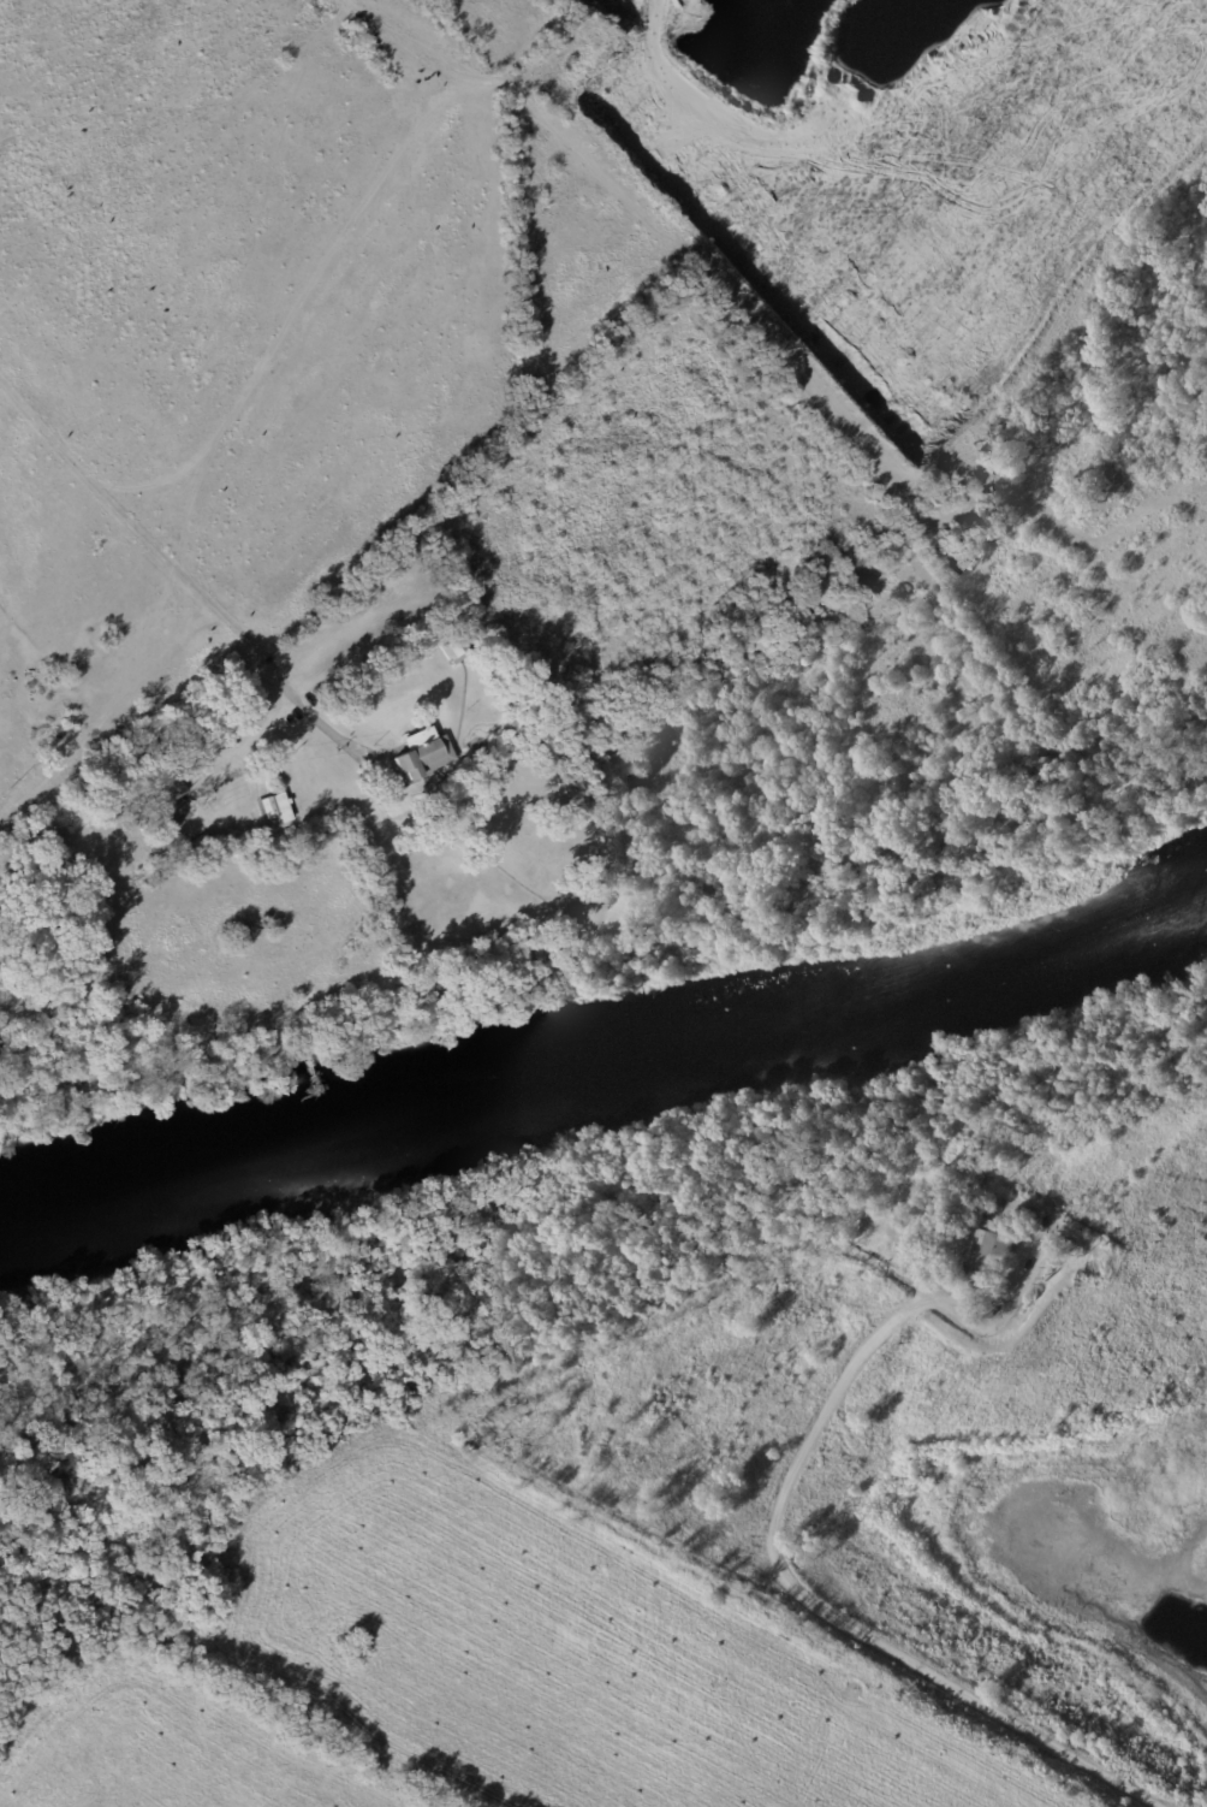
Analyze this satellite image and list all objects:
road: (153, 556)
building: (454, 646)
building: (375, 662)
road: (335, 664)
building: (224, 736)
building: (423, 754)
building: (168, 796)
building: (278, 808)
building: (198, 847)
river: (607, 1067)
building: (974, 1150)
building: (975, 1205)
building: (987, 1220)
building: (985, 1226)
building: (926, 1234)
building: (989, 1256)
road: (816, 1604)
crop: (483, 1676)

